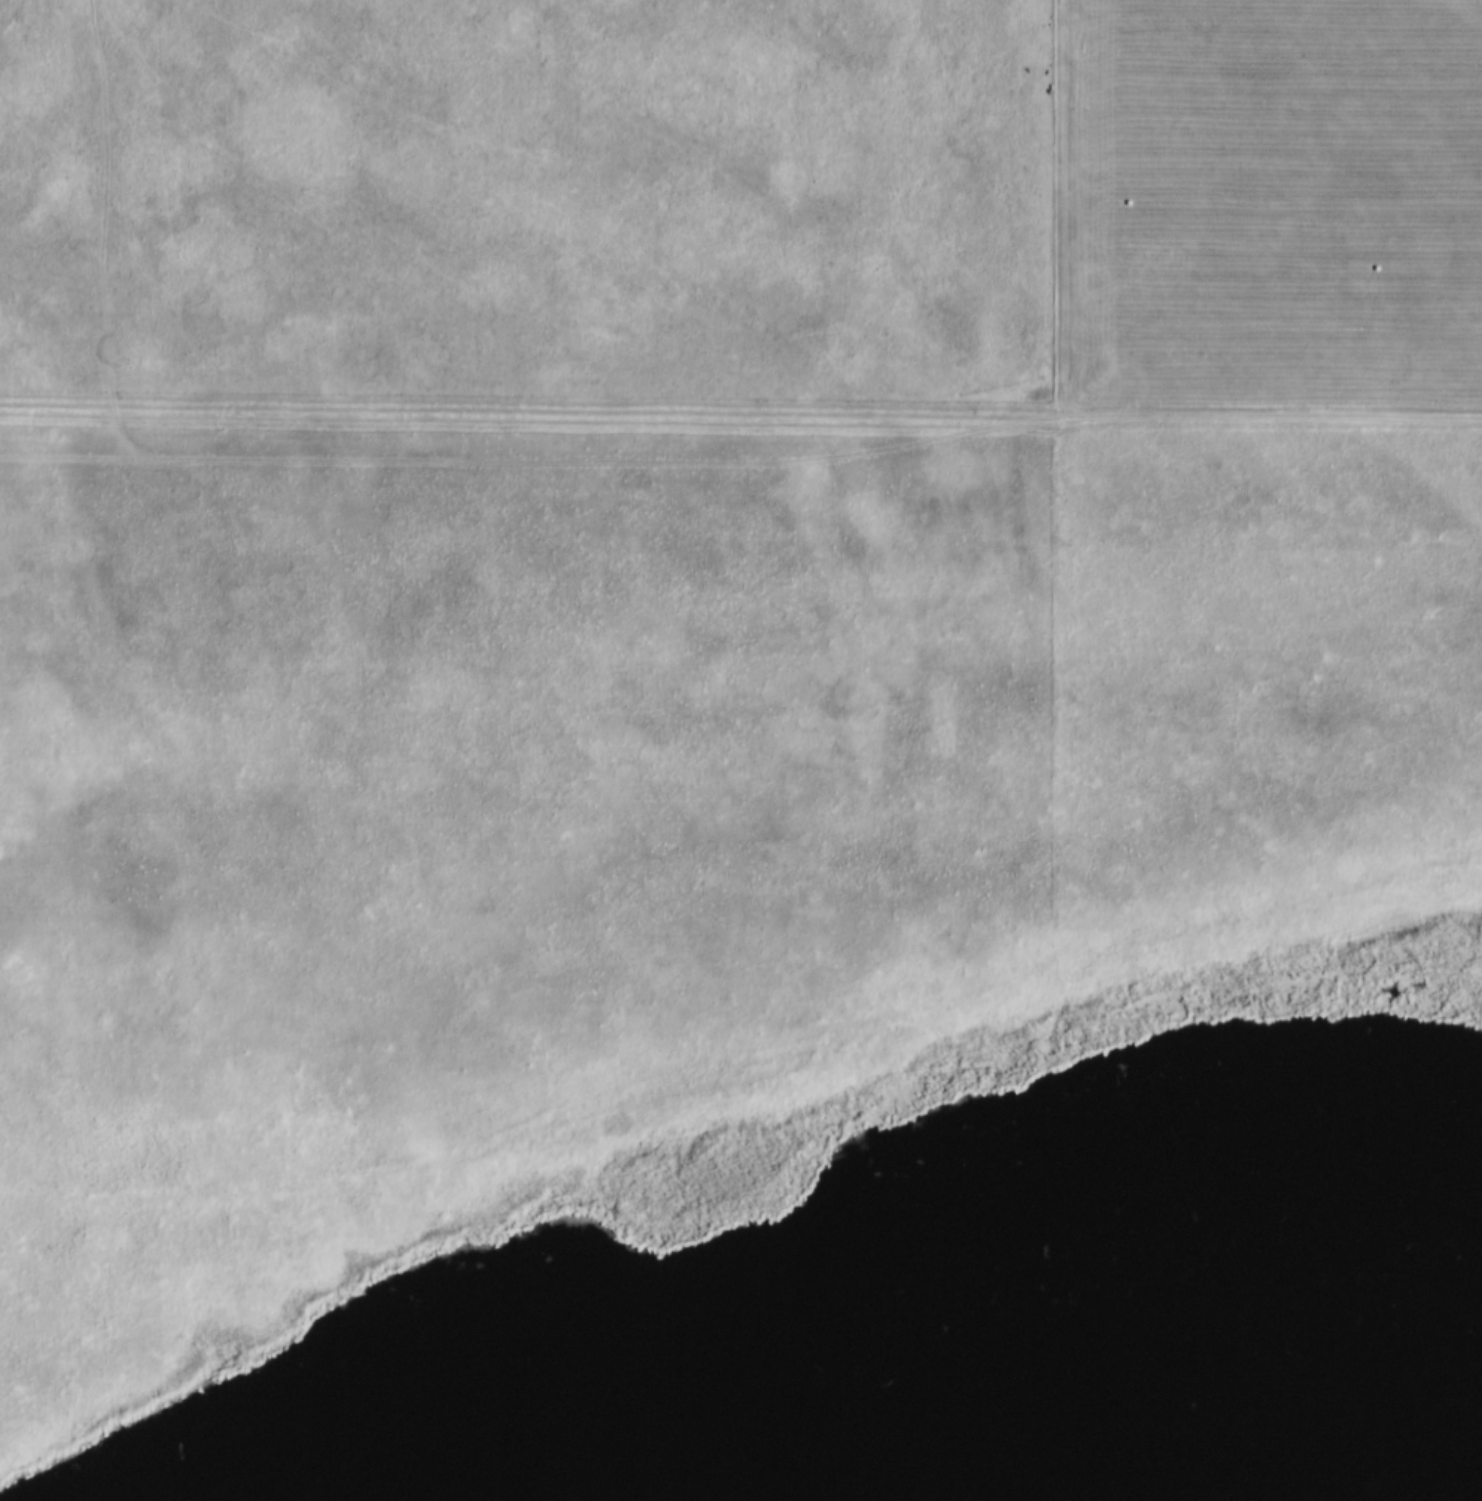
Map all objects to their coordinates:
road: (1063, 208)
road: (1272, 417)

